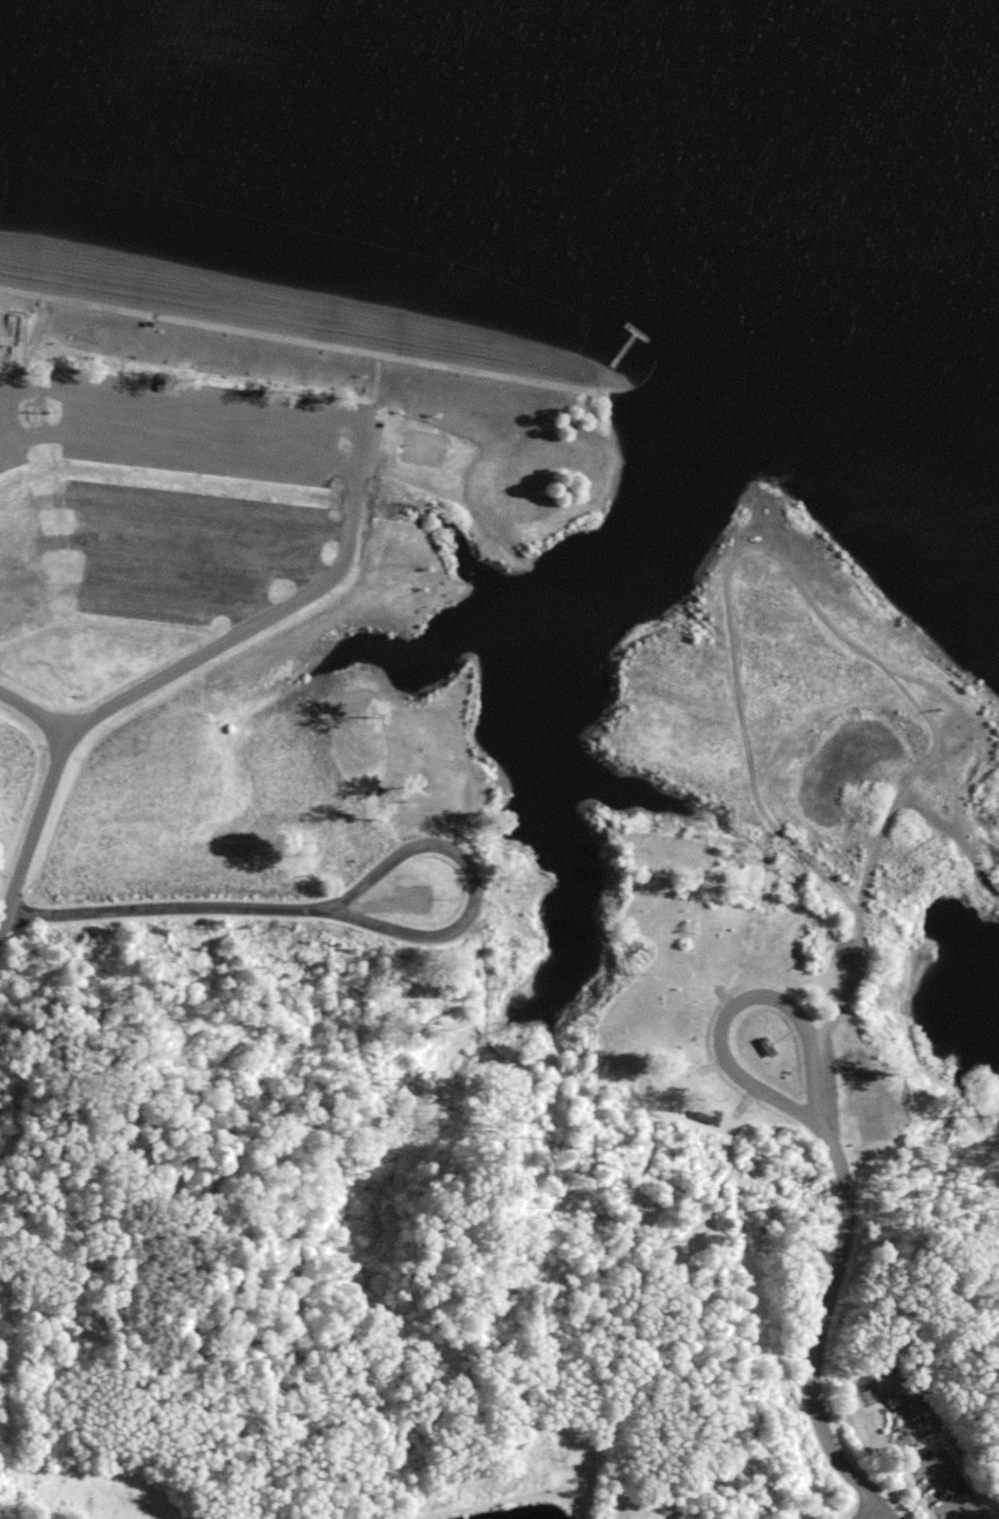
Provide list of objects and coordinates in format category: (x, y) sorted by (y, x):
river: (752, 159)
road: (181, 400)
street lamp: (48, 410)
road: (178, 445)
road: (178, 667)
road: (36, 712)
road: (168, 908)
road: (468, 916)
road: (858, 927)
road: (773, 998)
road: (330, 1134)
road: (821, 1328)
parking lot: (948, 1488)
road: (951, 1500)
road: (867, 1510)

